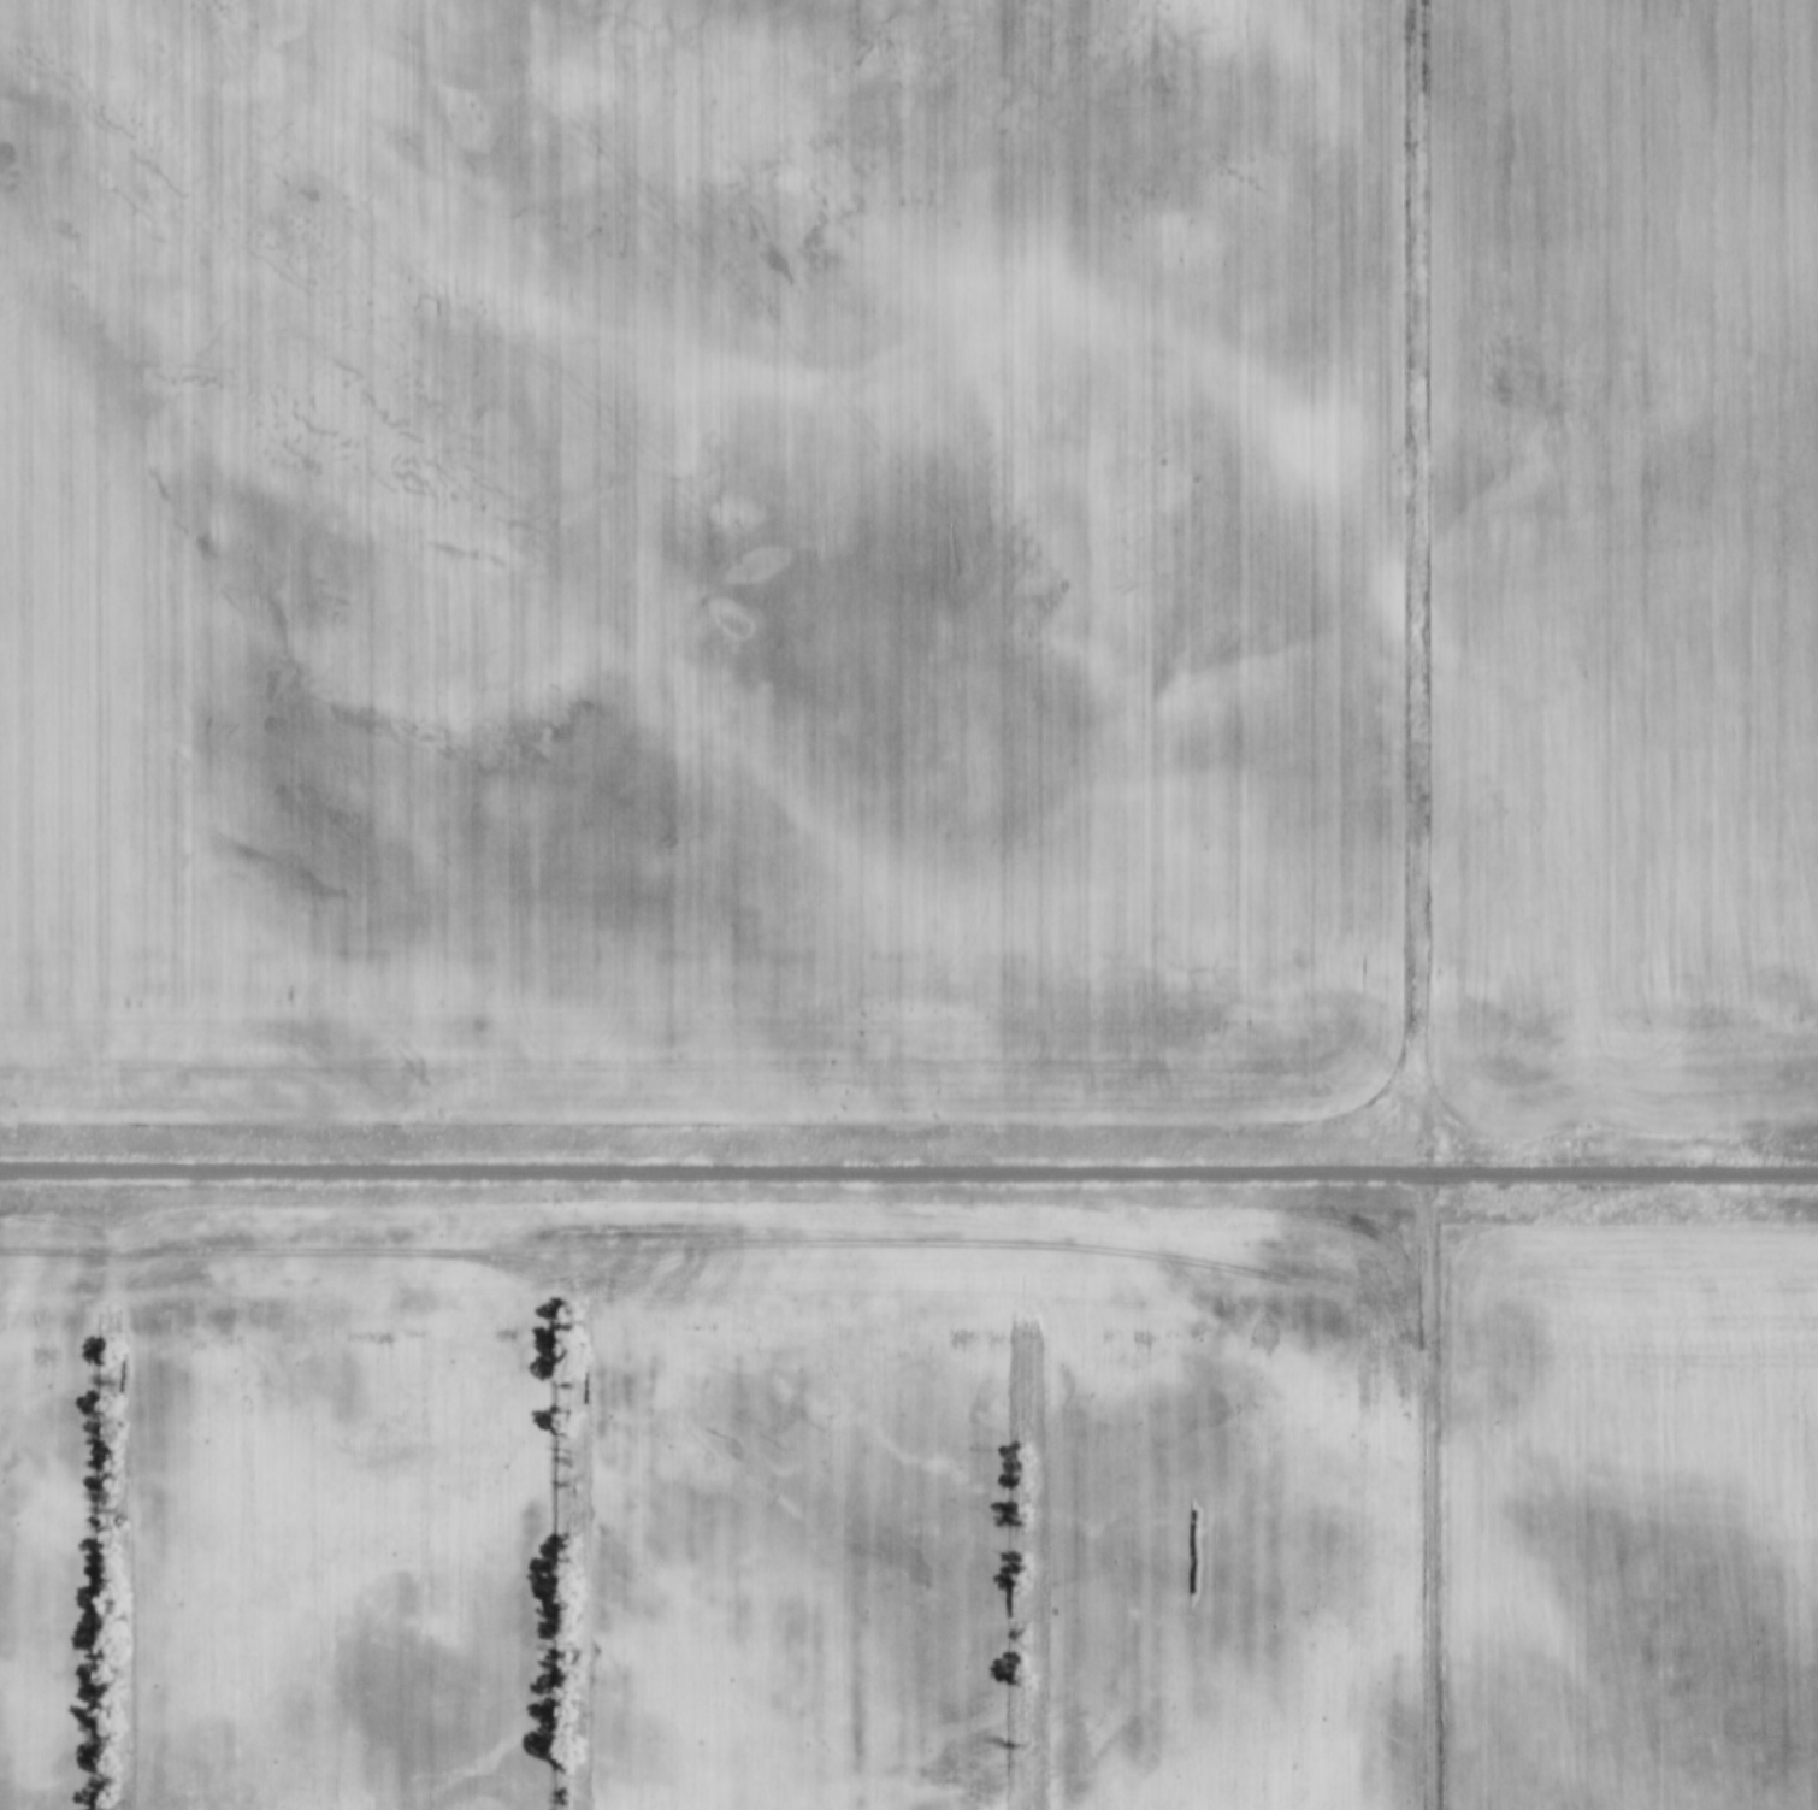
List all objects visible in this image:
road: (908, 1174)

